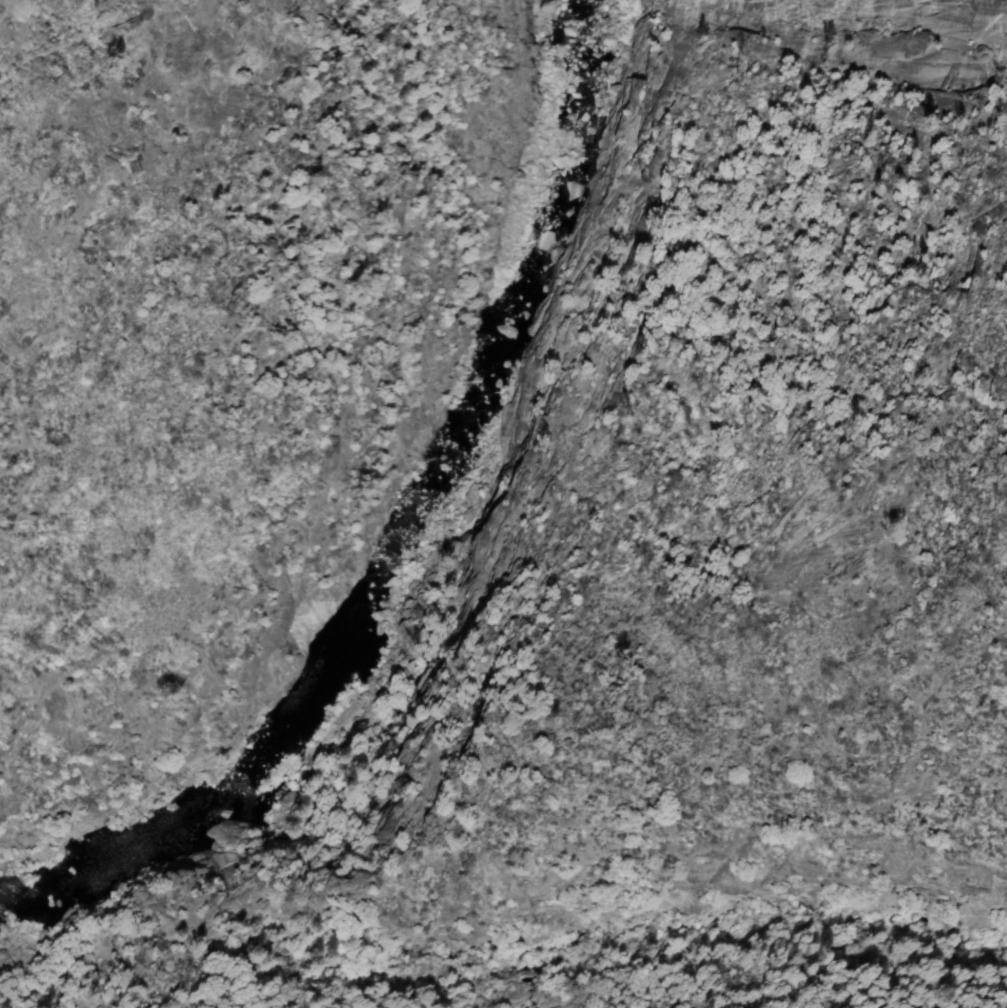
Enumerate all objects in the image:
river: (417, 544)

